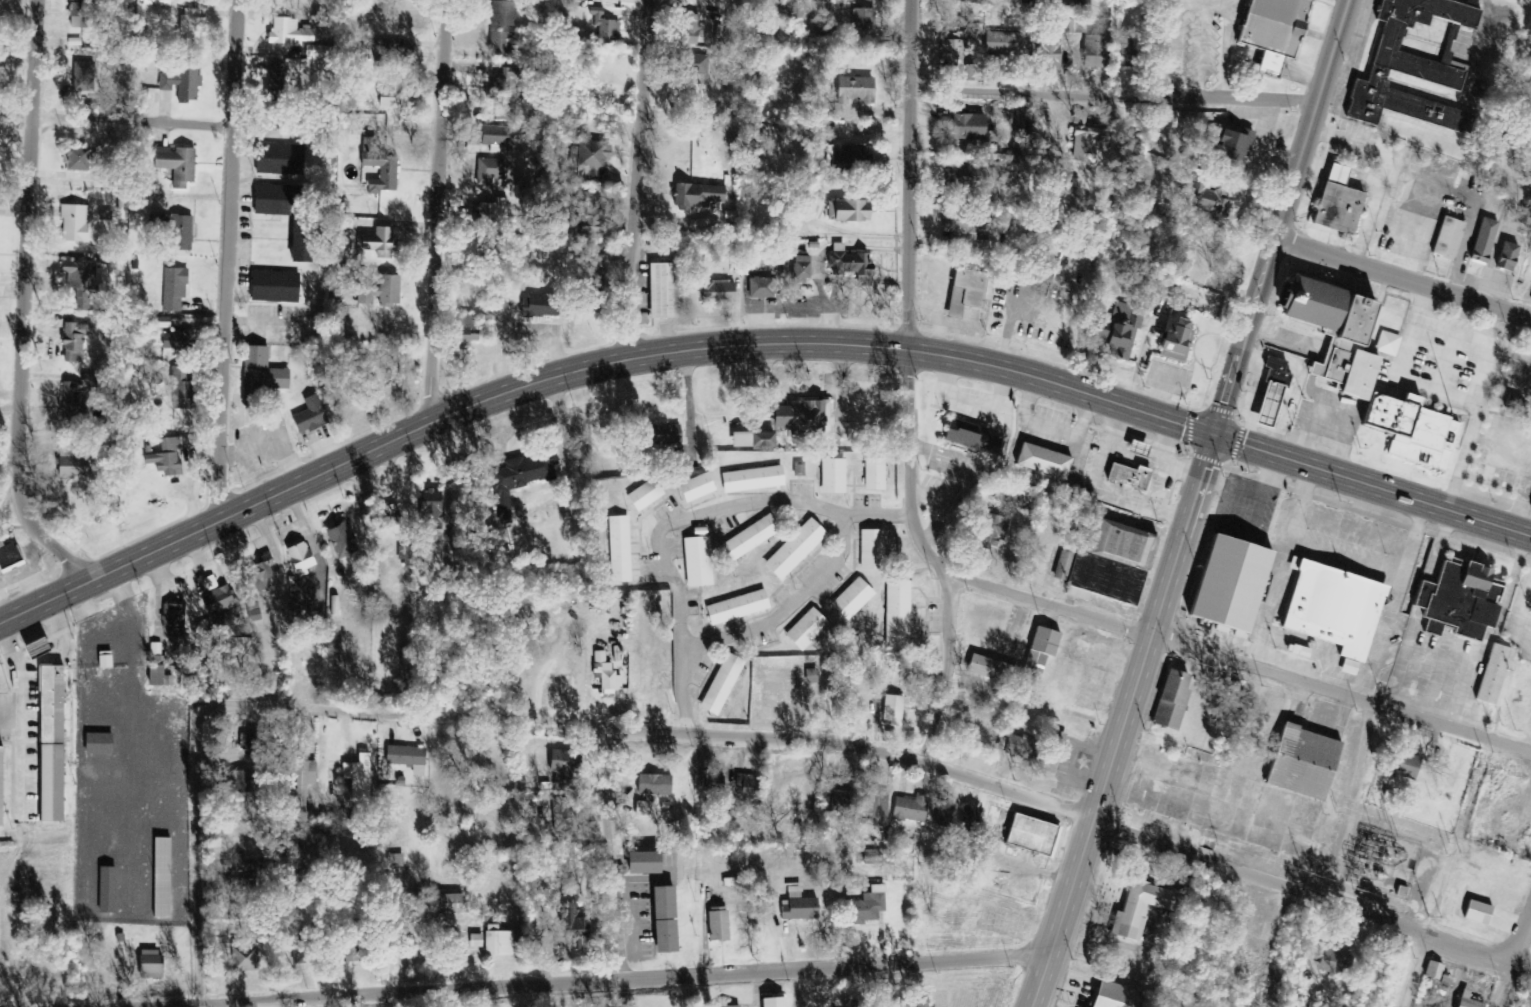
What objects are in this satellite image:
building: (1028, 2)
building: (80, 14)
building: (502, 14)
building: (860, 19)
building: (194, 24)
building: (602, 26)
building: (686, 31)
building: (1269, 32)
building: (292, 33)
building: (496, 42)
building: (1006, 44)
building: (1089, 50)
building: (693, 62)
building: (1409, 66)
building: (279, 80)
building: (185, 81)
building: (850, 94)
building: (400, 103)
road: (1114, 103)
building: (1162, 119)
building: (824, 127)
building: (963, 127)
road: (110, 135)
building: (492, 139)
building: (1079, 141)
building: (1227, 147)
building: (844, 156)
building: (589, 158)
building: (82, 159)
building: (284, 160)
building: (180, 165)
building: (487, 171)
building: (384, 172)
road: (910, 174)
road: (631, 179)
building: (694, 196)
building: (280, 200)
building: (1206, 202)
building: (1333, 203)
road: (433, 207)
building: (491, 209)
building: (588, 210)
building: (844, 211)
road: (1279, 216)
building: (962, 221)
building: (77, 224)
building: (176, 229)
building: (1445, 239)
building: (307, 241)
building: (1481, 241)
building: (381, 242)
building: (1504, 257)
road: (216, 260)
building: (846, 263)
building: (796, 270)
road: (1402, 276)
building: (83, 283)
building: (279, 287)
building: (760, 288)
building: (176, 289)
building: (660, 291)
building: (384, 292)
building: (714, 292)
building: (963, 303)
road: (13, 307)
building: (460, 329)
building: (1118, 335)
building: (1326, 335)
building: (1172, 340)
building: (78, 341)
building: (179, 342)
building: (1385, 344)
road: (588, 368)
building: (1273, 373)
building: (264, 376)
building: (183, 390)
building: (79, 396)
building: (1510, 404)
building: (1263, 406)
gas station: (1263, 406)
building: (313, 416)
building: (800, 418)
building: (1407, 430)
traffic signals: (1217, 435)
building: (655, 436)
building: (967, 437)
building: (1133, 450)
gas station: (1133, 450)
building: (169, 455)
building: (1040, 462)
building: (75, 465)
building: (798, 469)
road: (4, 474)
building: (872, 474)
building: (831, 476)
building: (1125, 477)
building: (517, 479)
building: (749, 480)
road: (1374, 485)
building: (693, 488)
building: (642, 496)
building: (1530, 507)
building: (429, 508)
building: (387, 517)
road: (680, 517)
building: (988, 531)
building: (745, 540)
building: (616, 550)
building: (792, 550)
building: (869, 550)
building: (11, 555)
road: (931, 556)
building: (695, 559)
building: (1104, 564)
building: (259, 573)
building: (1222, 586)
building: (215, 599)
building: (849, 600)
building: (1457, 603)
road: (786, 605)
building: (250, 608)
building: (734, 608)
building: (1329, 610)
building: (895, 614)
building: (170, 616)
building: (803, 630)
building: (1038, 647)
building: (1298, 652)
road: (1238, 656)
building: (987, 670)
building: (1490, 675)
building: (809, 677)
building: (605, 678)
building: (718, 686)
building: (1168, 704)
building: (891, 711)
road: (1126, 721)
building: (55, 743)
road: (841, 743)
building: (102, 745)
building: (1011, 745)
building: (1051, 752)
building: (405, 758)
building: (1298, 764)
building: (1401, 765)
building: (559, 767)
building: (359, 779)
building: (651, 784)
building: (746, 786)
building: (3, 787)
building: (708, 788)
building: (834, 805)
building: (638, 808)
building: (875, 810)
building: (908, 810)
building: (558, 814)
building: (943, 814)
building: (967, 819)
building: (1030, 835)
road: (606, 857)
building: (637, 862)
power substation: (1379, 862)
building: (157, 878)
road: (187, 901)
building: (447, 903)
building: (795, 906)
building: (864, 907)
building: (1140, 909)
building: (1473, 912)
building: (659, 919)
building: (715, 924)
building: (571, 930)
building: (473, 940)
road: (1519, 940)
building: (495, 941)
building: (1333, 957)
building: (151, 965)
road: (1417, 970)
building: (1430, 970)
road: (637, 978)
building: (1115, 997)
building: (1463, 1000)
building: (768, 1002)
building: (719, 1006)
building: (732, 1006)

